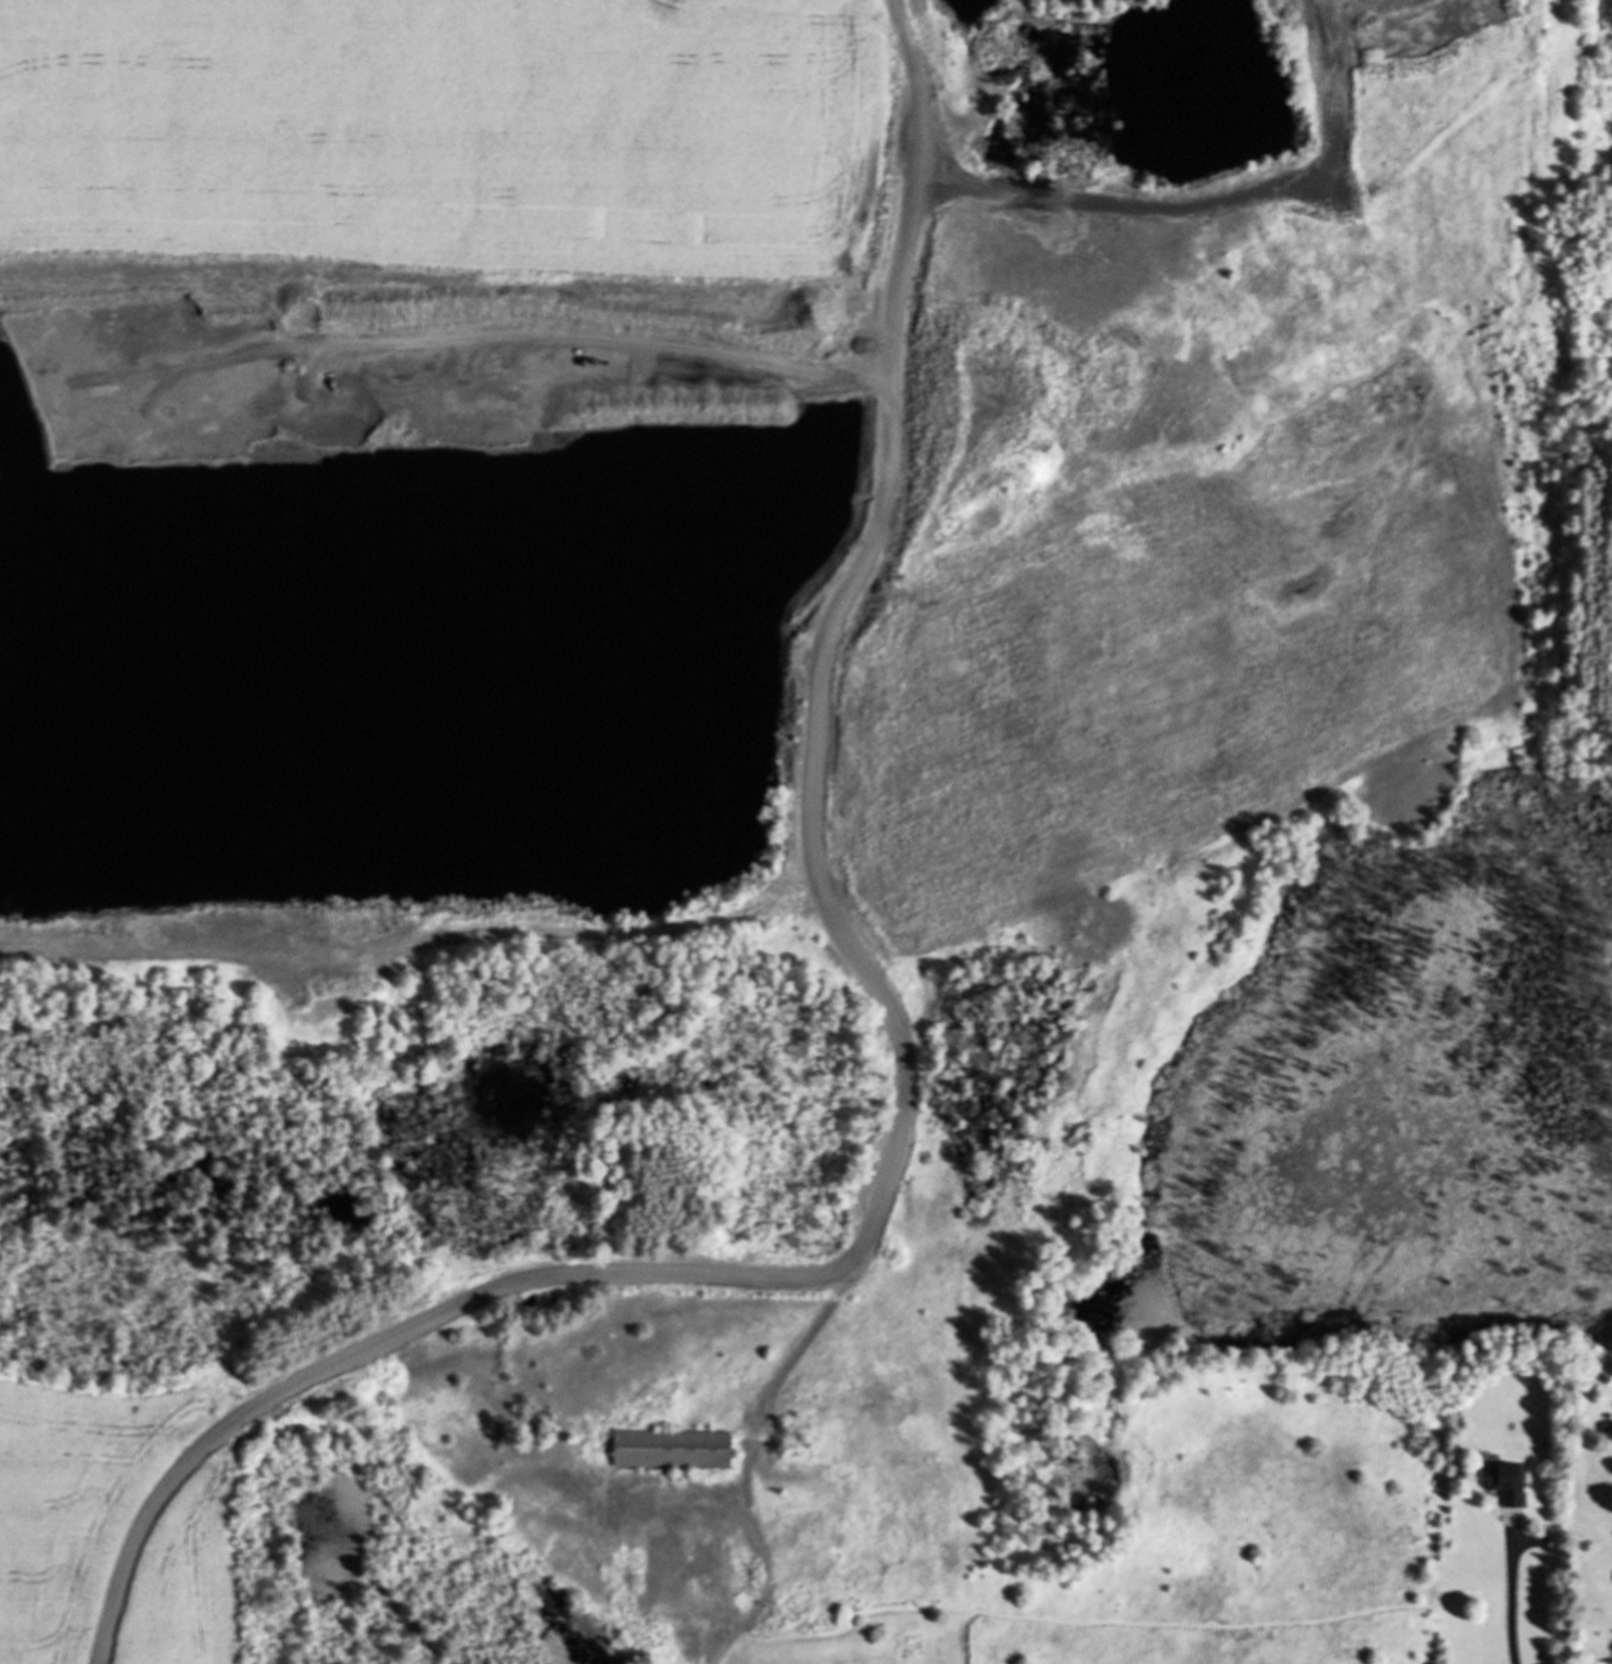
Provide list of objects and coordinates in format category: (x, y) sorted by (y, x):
quarry: (736, 738)
building: (670, 1448)
building: (1506, 1483)

